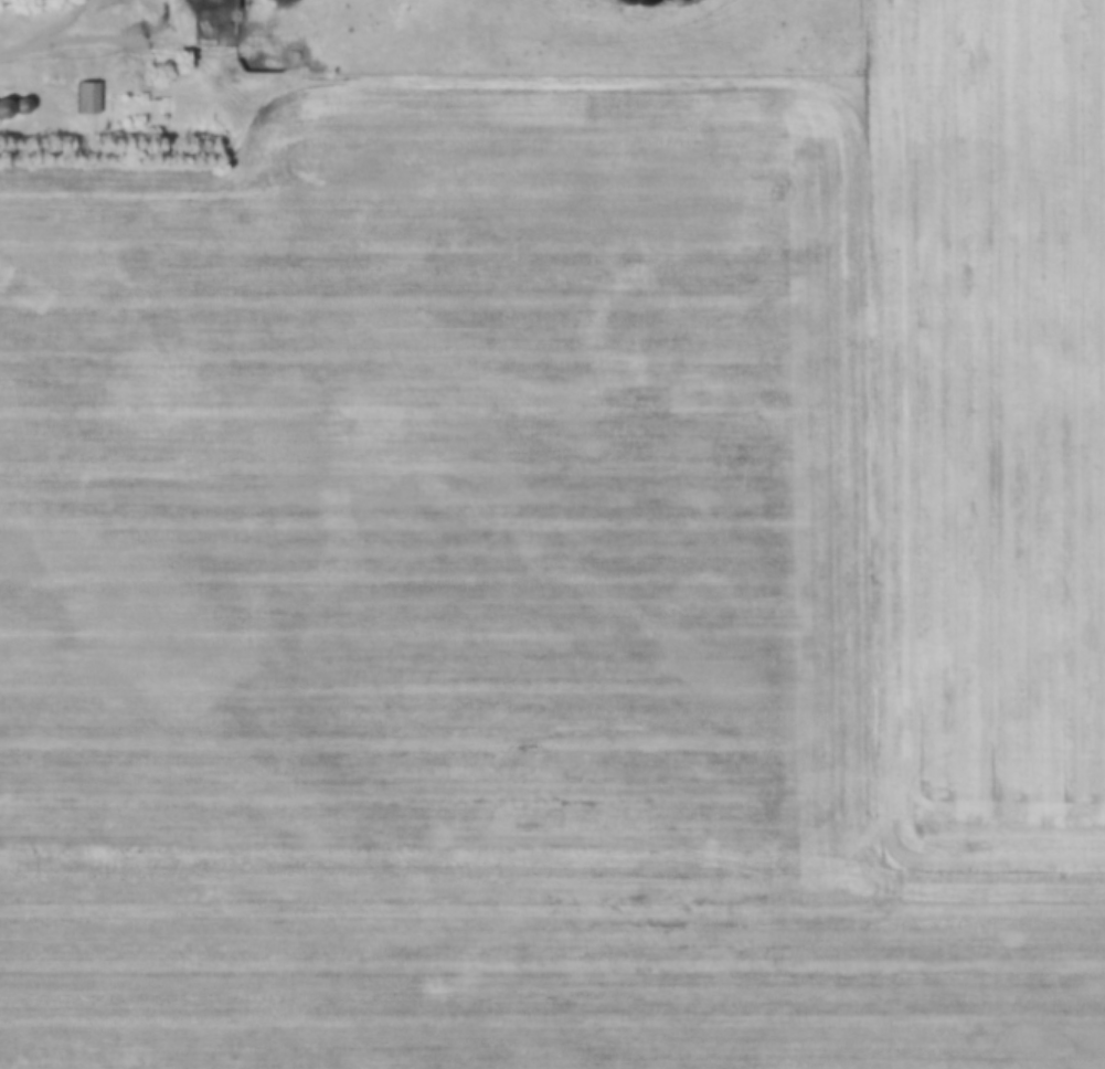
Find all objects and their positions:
road: (87, 36)
building: (56, 72)
building: (86, 99)
building: (19, 109)
building: (3, 110)

